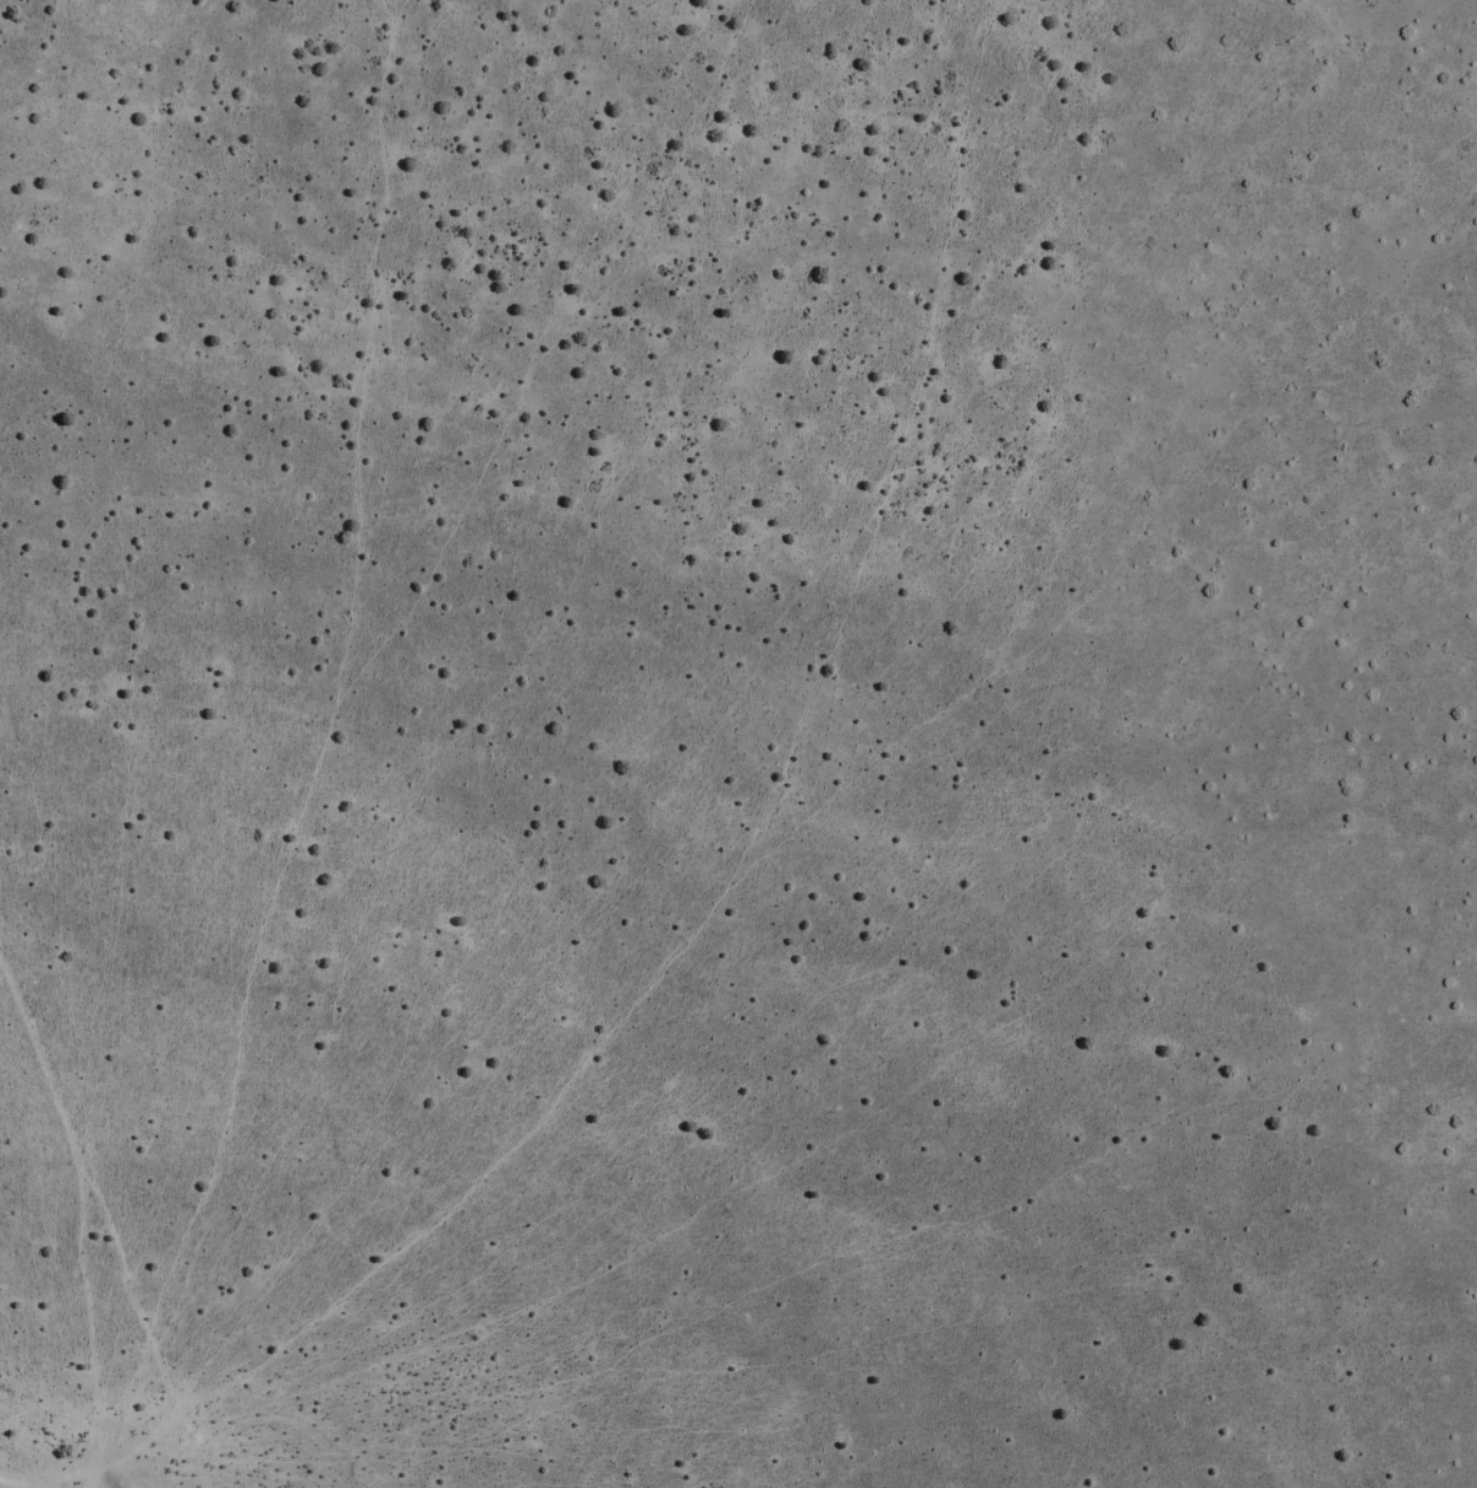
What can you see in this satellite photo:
road: (791, 747)
road: (219, 1420)

